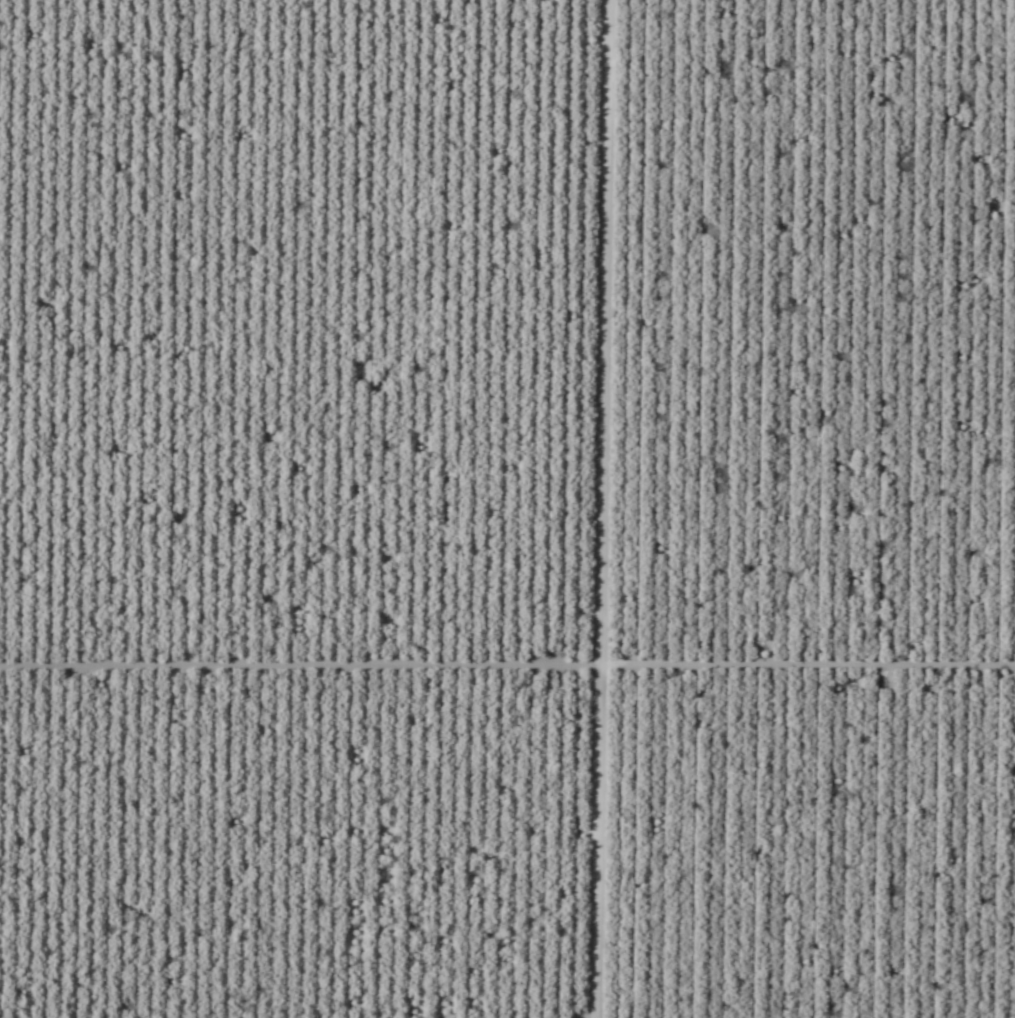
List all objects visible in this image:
crop: (507, 509)
road: (559, 509)

